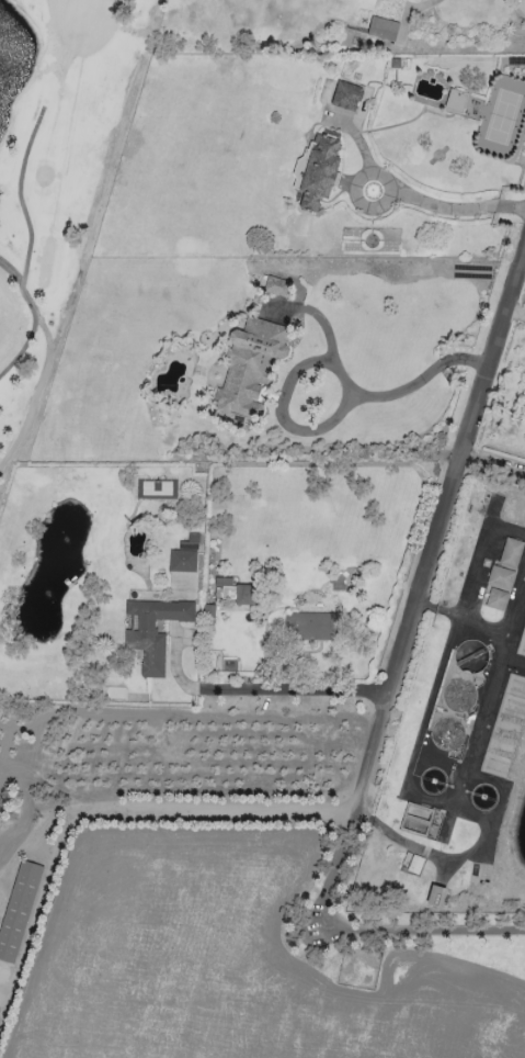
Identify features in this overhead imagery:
building: (383, 29)
building: (346, 97)
building: (319, 172)
park: (56, 181)
road: (20, 194)
road: (403, 196)
building: (275, 285)
road: (516, 313)
road: (23, 347)
road: (46, 360)
building: (249, 369)
road: (364, 394)
building: (511, 552)
road: (480, 553)
building: (184, 558)
building: (500, 577)
road: (423, 593)
building: (248, 594)
building: (497, 599)
road: (464, 620)
building: (311, 626)
building: (153, 631)
road: (264, 690)
wastewater plant: (460, 735)
park: (150, 778)
road: (464, 788)
building: (419, 819)
building: (435, 896)
building: (18, 910)
road: (422, 930)

